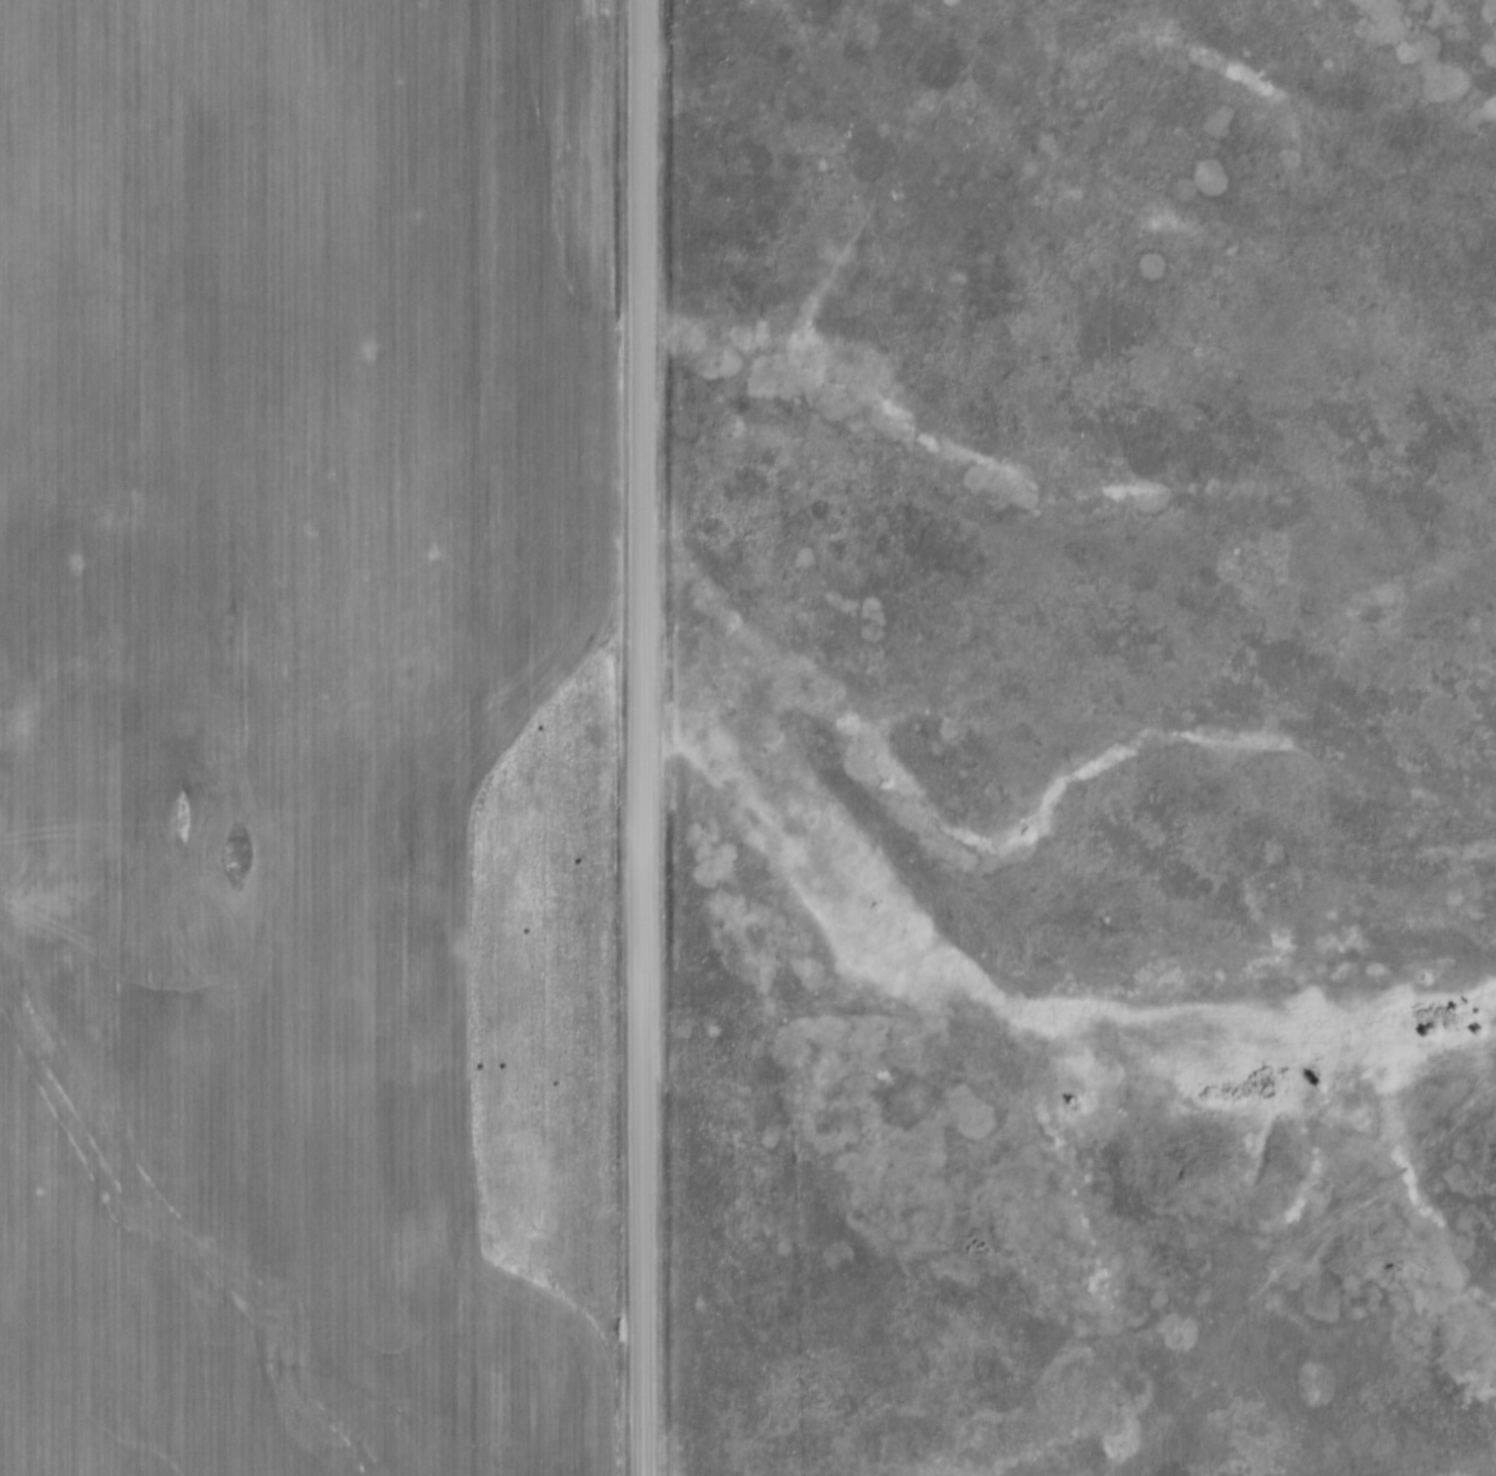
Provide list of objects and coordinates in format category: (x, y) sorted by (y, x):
road: (639, 737)

